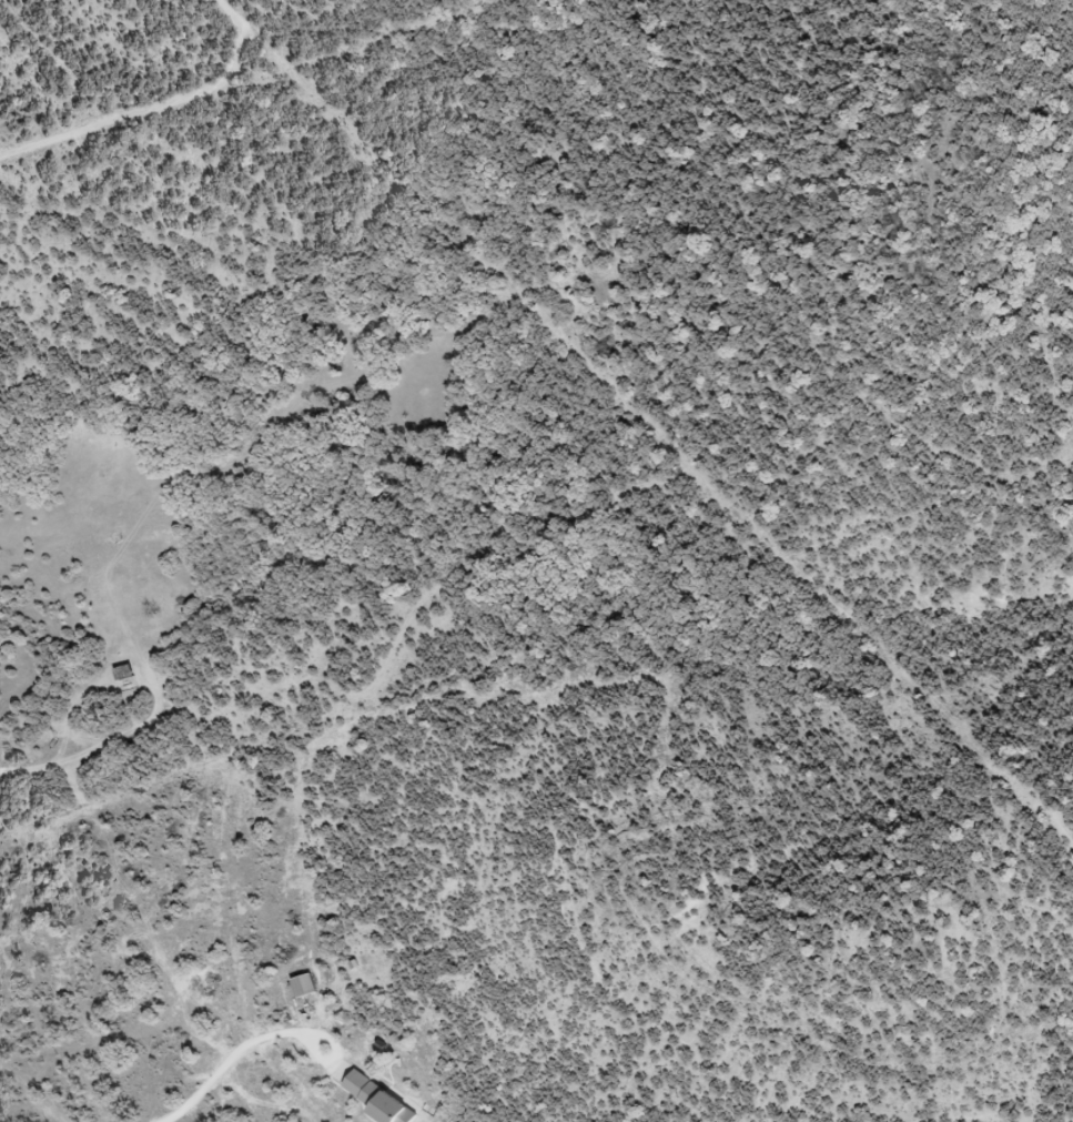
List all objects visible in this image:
building: (305, 988)
road: (236, 1061)
building: (387, 1105)

